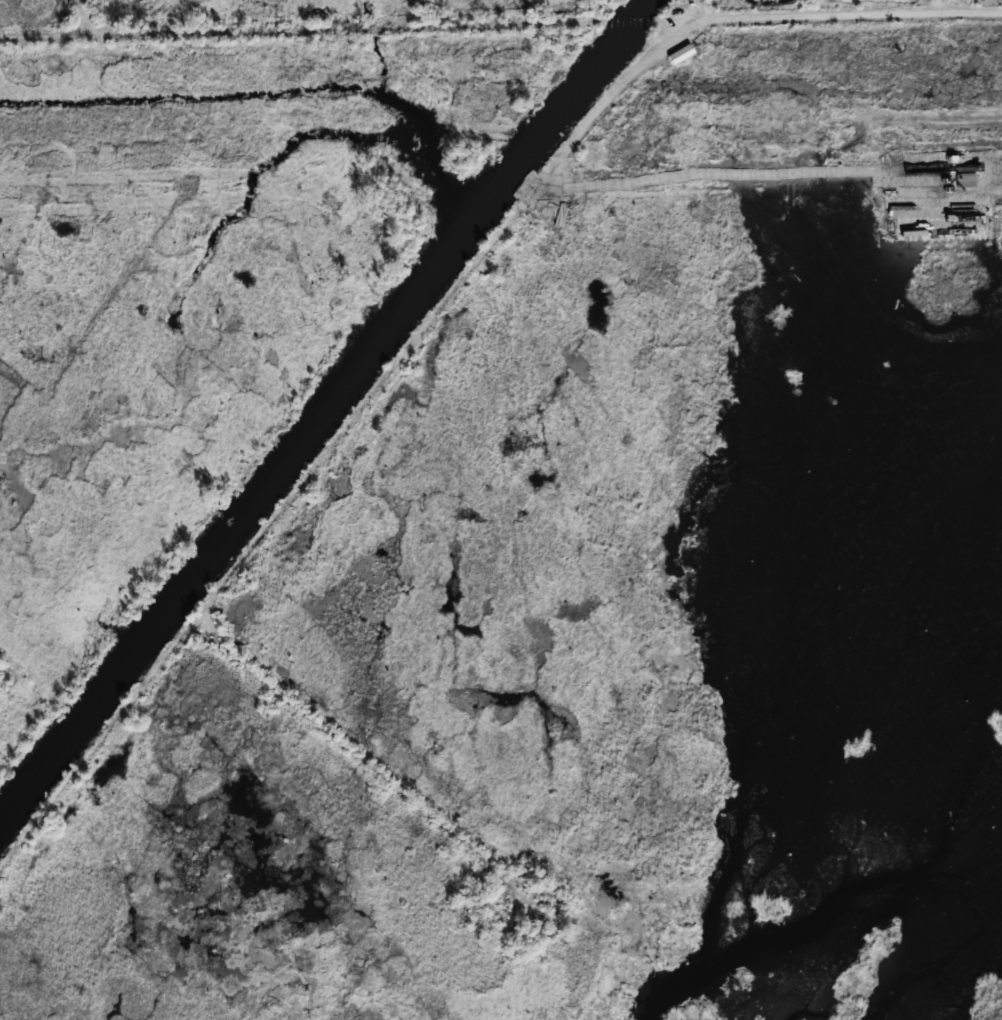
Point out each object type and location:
road: (947, 6)
road: (844, 17)
road: (338, 443)
road: (377, 770)

